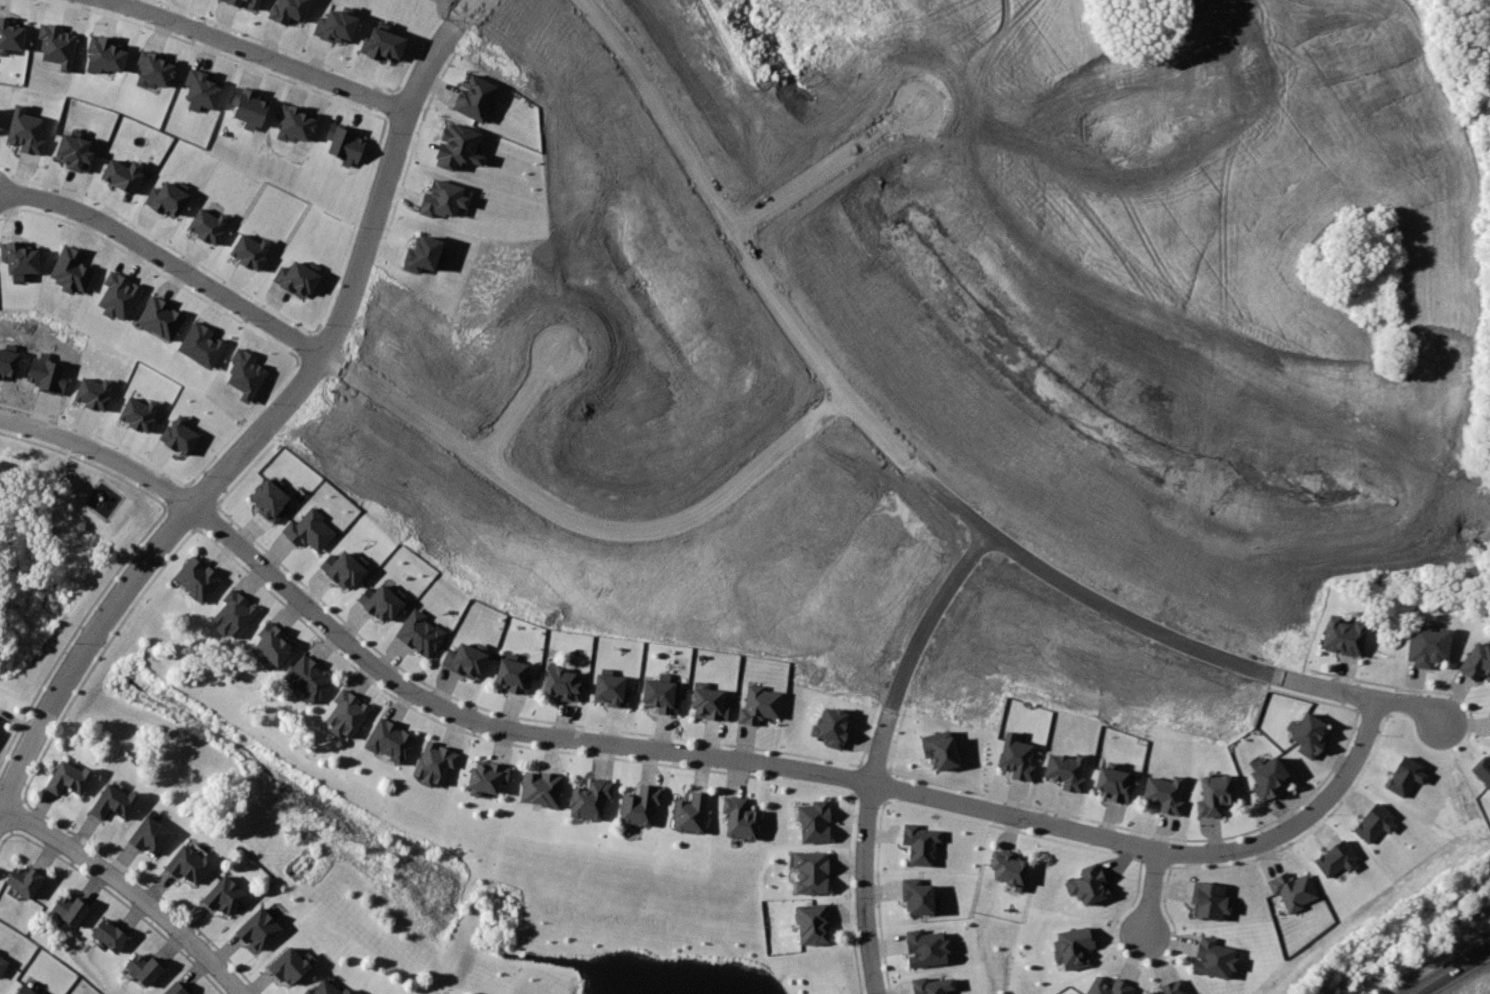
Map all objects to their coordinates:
building: (233, 2)
building: (252, 3)
building: (287, 10)
road: (469, 15)
building: (335, 26)
building: (9, 37)
building: (381, 44)
building: (55, 45)
road: (257, 48)
building: (104, 53)
building: (153, 68)
building: (200, 90)
building: (474, 97)
building: (247, 106)
building: (295, 123)
building: (24, 131)
building: (344, 144)
building: (458, 147)
building: (74, 151)
building: (120, 171)
road: (828, 174)
building: (166, 198)
building: (443, 198)
building: (206, 225)
building: (248, 251)
building: (423, 254)
building: (18, 259)
road: (166, 261)
building: (69, 269)
building: (294, 278)
building: (117, 289)
building: (159, 318)
building: (199, 344)
building: (243, 372)
building: (92, 393)
road: (854, 410)
road: (513, 411)
building: (137, 413)
road: (259, 433)
road: (96, 435)
building: (177, 435)
road: (86, 461)
road: (200, 494)
road: (176, 495)
building: (268, 504)
road: (205, 516)
road: (180, 517)
road: (579, 529)
building: (304, 534)
building: (342, 569)
building: (201, 584)
building: (379, 600)
building: (236, 612)
road: (933, 620)
building: (421, 634)
building: (1353, 639)
building: (276, 643)
building: (1435, 651)
building: (465, 664)
building: (1480, 666)
building: (310, 678)
building: (517, 680)
building: (564, 684)
building: (614, 693)
road: (1359, 693)
building: (662, 697)
building: (709, 707)
building: (761, 707)
building: (351, 717)
building: (843, 725)
building: (1312, 737)
road: (578, 739)
building: (396, 745)
building: (940, 750)
building: (1017, 753)
building: (439, 768)
building: (1066, 768)
building: (1405, 775)
building: (1272, 777)
building: (71, 778)
building: (1484, 778)
building: (491, 782)
building: (1117, 785)
building: (544, 792)
road: (1331, 792)
building: (1166, 796)
building: (1221, 798)
building: (596, 800)
building: (114, 802)
building: (640, 804)
building: (692, 812)
building: (815, 817)
building: (742, 820)
building: (1374, 823)
building: (152, 834)
building: (921, 842)
road: (864, 849)
building: (1335, 859)
building: (190, 865)
building: (1008, 865)
building: (812, 872)
building: (26, 880)
building: (1087, 883)
building: (1291, 888)
road: (129, 889)
road: (1150, 892)
building: (226, 895)
building: (916, 897)
building: (1216, 902)
building: (72, 909)
building: (816, 925)
building: (260, 929)
building: (112, 934)
building: (928, 948)
building: (1077, 949)
building: (1215, 956)
building: (291, 966)
building: (4, 967)
building: (146, 969)
road: (1452, 972)
building: (934, 985)
building: (1111, 987)
building: (29, 989)
building: (177, 989)
building: (329, 989)
building: (1172, 990)

